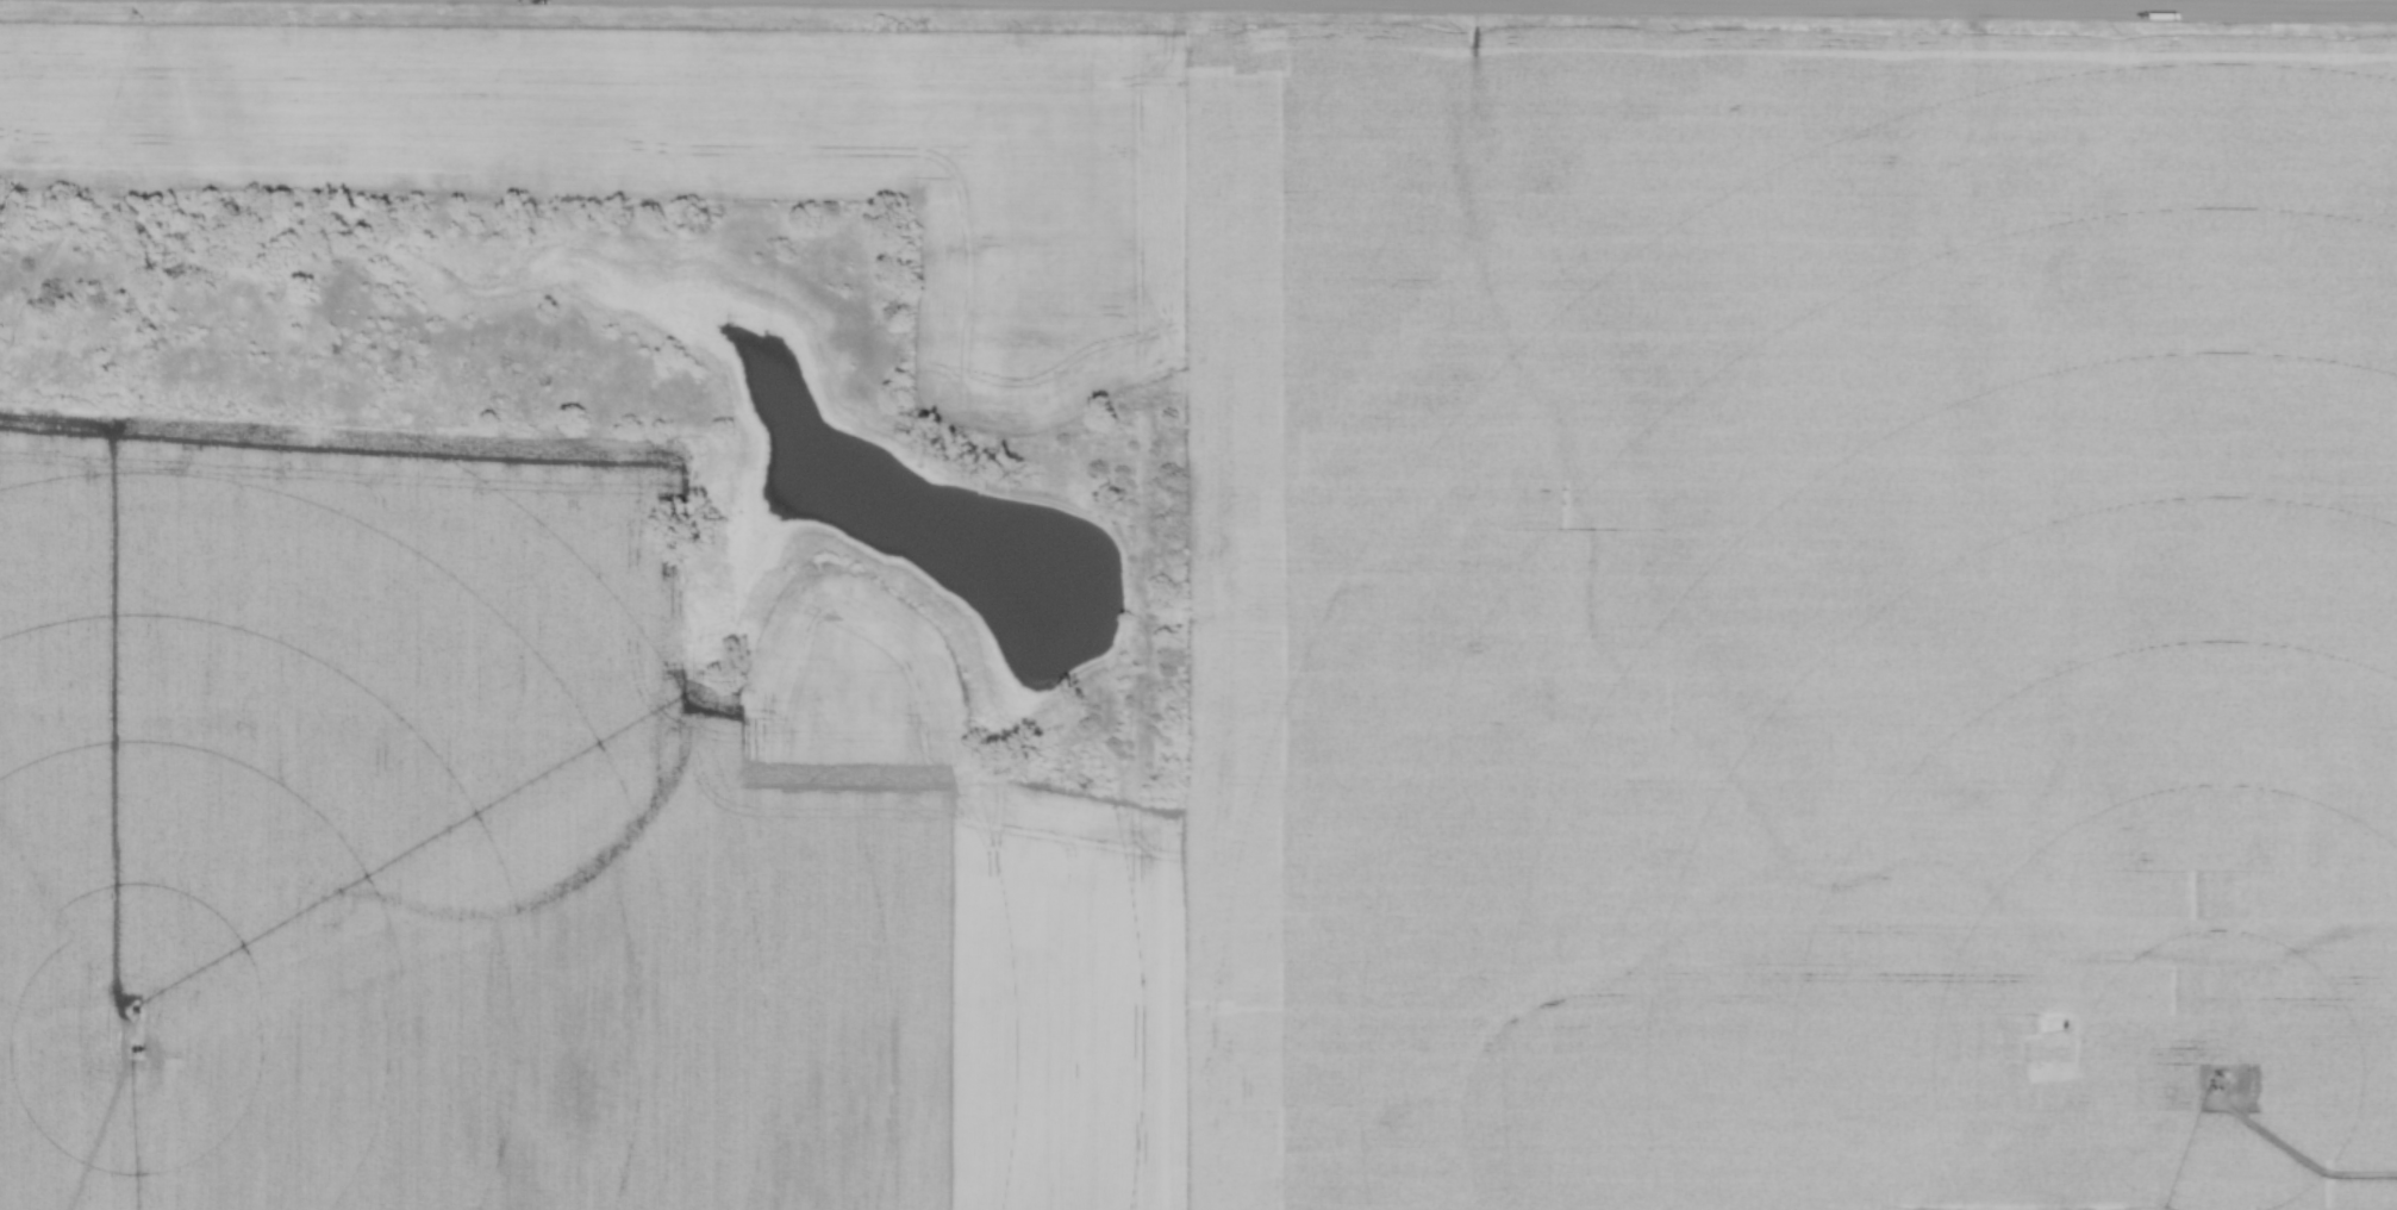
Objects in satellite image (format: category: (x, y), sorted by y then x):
road: (1880, 5)

